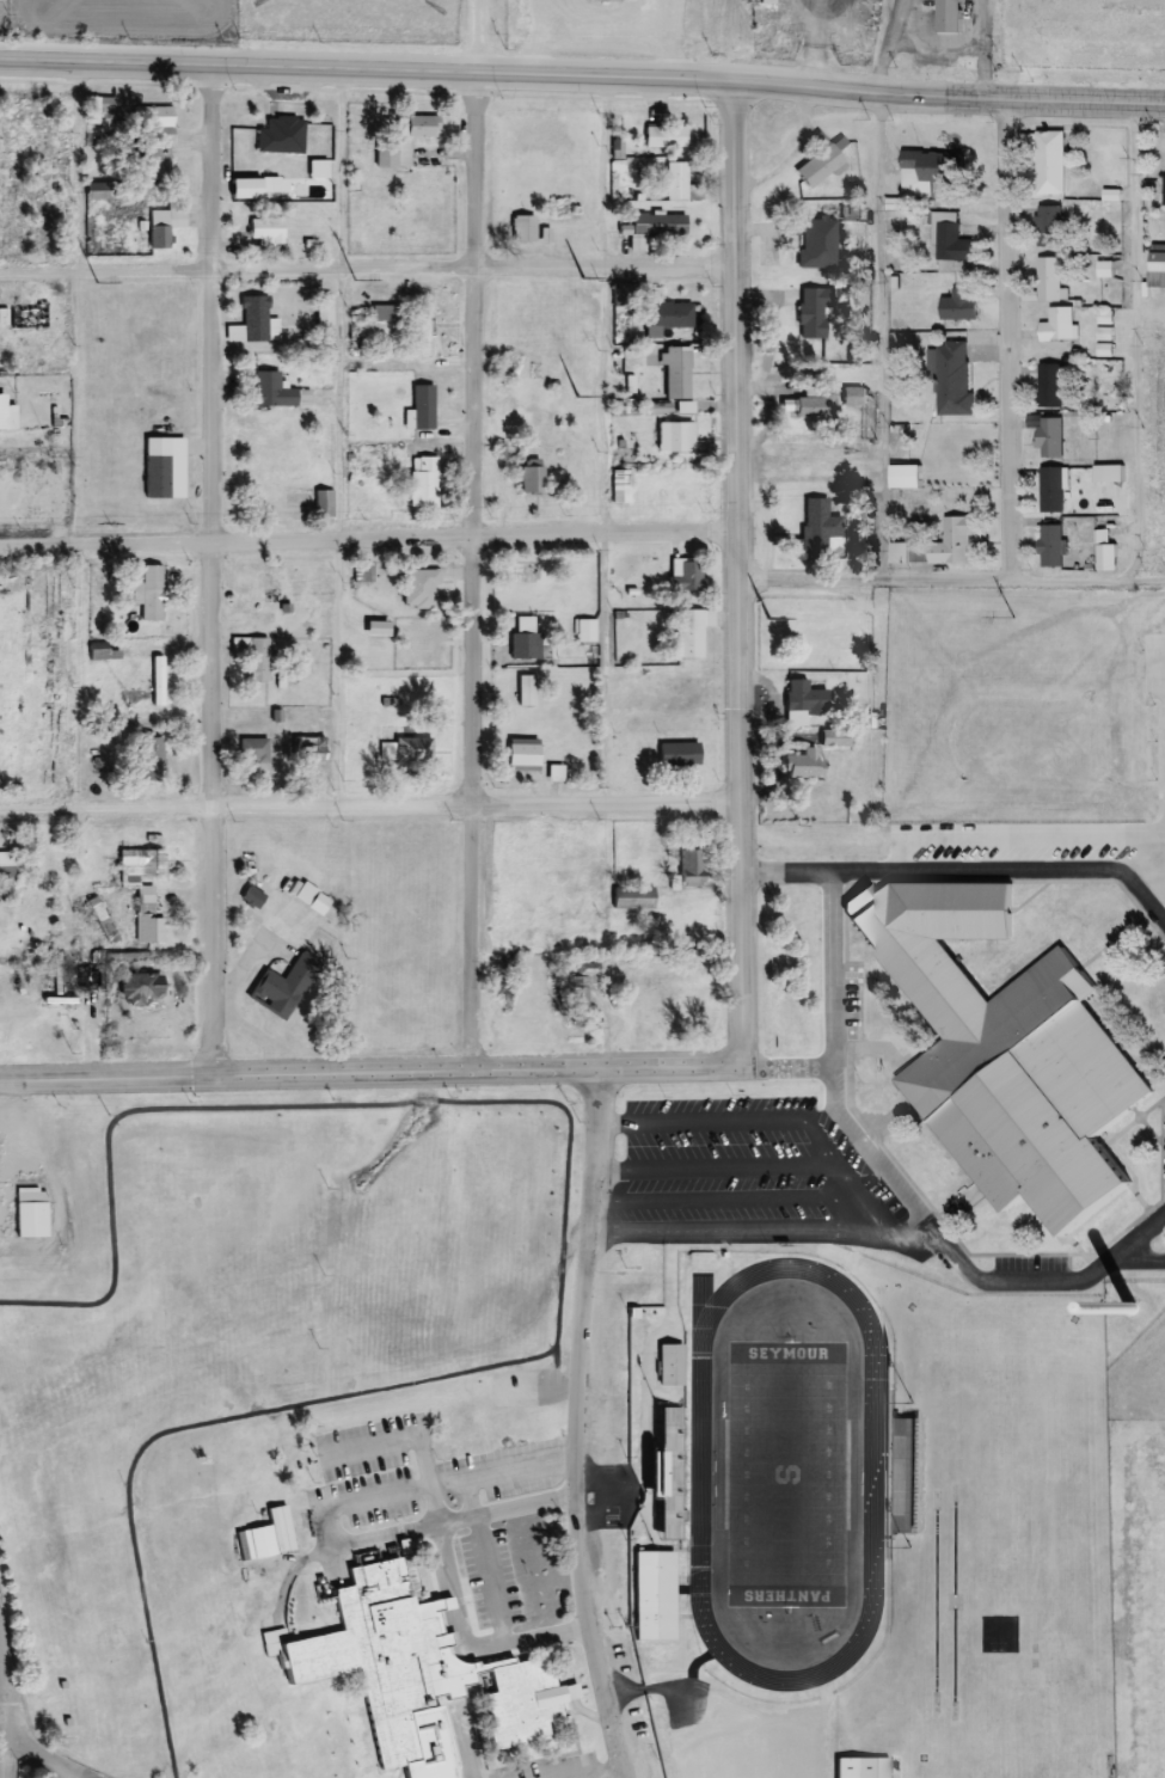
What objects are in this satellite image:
building: (944, 17)
road: (479, 42)
road: (413, 81)
road: (997, 100)
building: (109, 102)
building: (158, 115)
building: (29, 127)
building: (278, 135)
building: (662, 136)
building: (401, 141)
building: (1046, 163)
building: (165, 164)
building: (816, 167)
building: (927, 167)
road: (78, 170)
building: (314, 170)
road: (605, 178)
building: (673, 182)
building: (250, 188)
building: (1161, 190)
building: (168, 223)
building: (657, 225)
building: (1046, 227)
building: (520, 228)
building: (264, 231)
building: (946, 239)
building: (816, 244)
road: (237, 266)
road: (605, 268)
building: (1047, 281)
building: (952, 301)
building: (321, 311)
building: (380, 313)
building: (810, 313)
building: (25, 315)
building: (664, 315)
building: (252, 323)
building: (1054, 326)
building: (421, 338)
road: (881, 339)
road: (1008, 341)
building: (324, 344)
building: (674, 373)
building: (949, 379)
building: (1046, 386)
building: (272, 392)
building: (851, 397)
road: (1134, 399)
road: (606, 401)
building: (419, 406)
building: (808, 406)
building: (8, 413)
building: (1042, 435)
building: (672, 437)
building: (161, 467)
building: (529, 476)
building: (899, 477)
building: (421, 482)
building: (618, 486)
building: (1047, 490)
building: (321, 503)
building: (817, 525)
road: (339, 538)
road: (368, 538)
building: (940, 544)
building: (1047, 546)
building: (360, 571)
building: (523, 572)
road: (214, 574)
building: (685, 575)
road: (474, 576)
road: (738, 580)
road: (875, 581)
building: (416, 589)
building: (155, 591)
building: (583, 630)
building: (689, 632)
building: (522, 638)
road: (1157, 645)
building: (106, 650)
building: (256, 655)
road: (603, 669)
road: (78, 678)
building: (161, 680)
building: (525, 691)
building: (801, 703)
building: (313, 749)
building: (403, 750)
building: (1, 754)
building: (257, 754)
building: (675, 755)
building: (155, 759)
building: (798, 765)
building: (552, 773)
road: (369, 807)
road: (1012, 835)
building: (7, 859)
building: (693, 867)
road: (952, 872)
building: (147, 890)
building: (311, 896)
building: (255, 897)
building: (634, 899)
building: (287, 986)
building: (585, 991)
building: (1005, 1055)
road: (790, 1066)
road: (370, 1071)
road: (767, 1121)
road: (715, 1167)
road: (899, 1185)
road: (724, 1201)
building: (33, 1213)
road: (762, 1233)
road: (563, 1238)
road: (1136, 1258)
park: (240, 1347)
building: (673, 1367)
road: (577, 1426)
park: (786, 1473)
building: (669, 1476)
building: (905, 1476)
building: (256, 1541)
road: (449, 1581)
building: (656, 1596)
building: (379, 1667)
building: (509, 1697)
road: (10, 1710)
road: (42, 1753)
building: (864, 1768)

